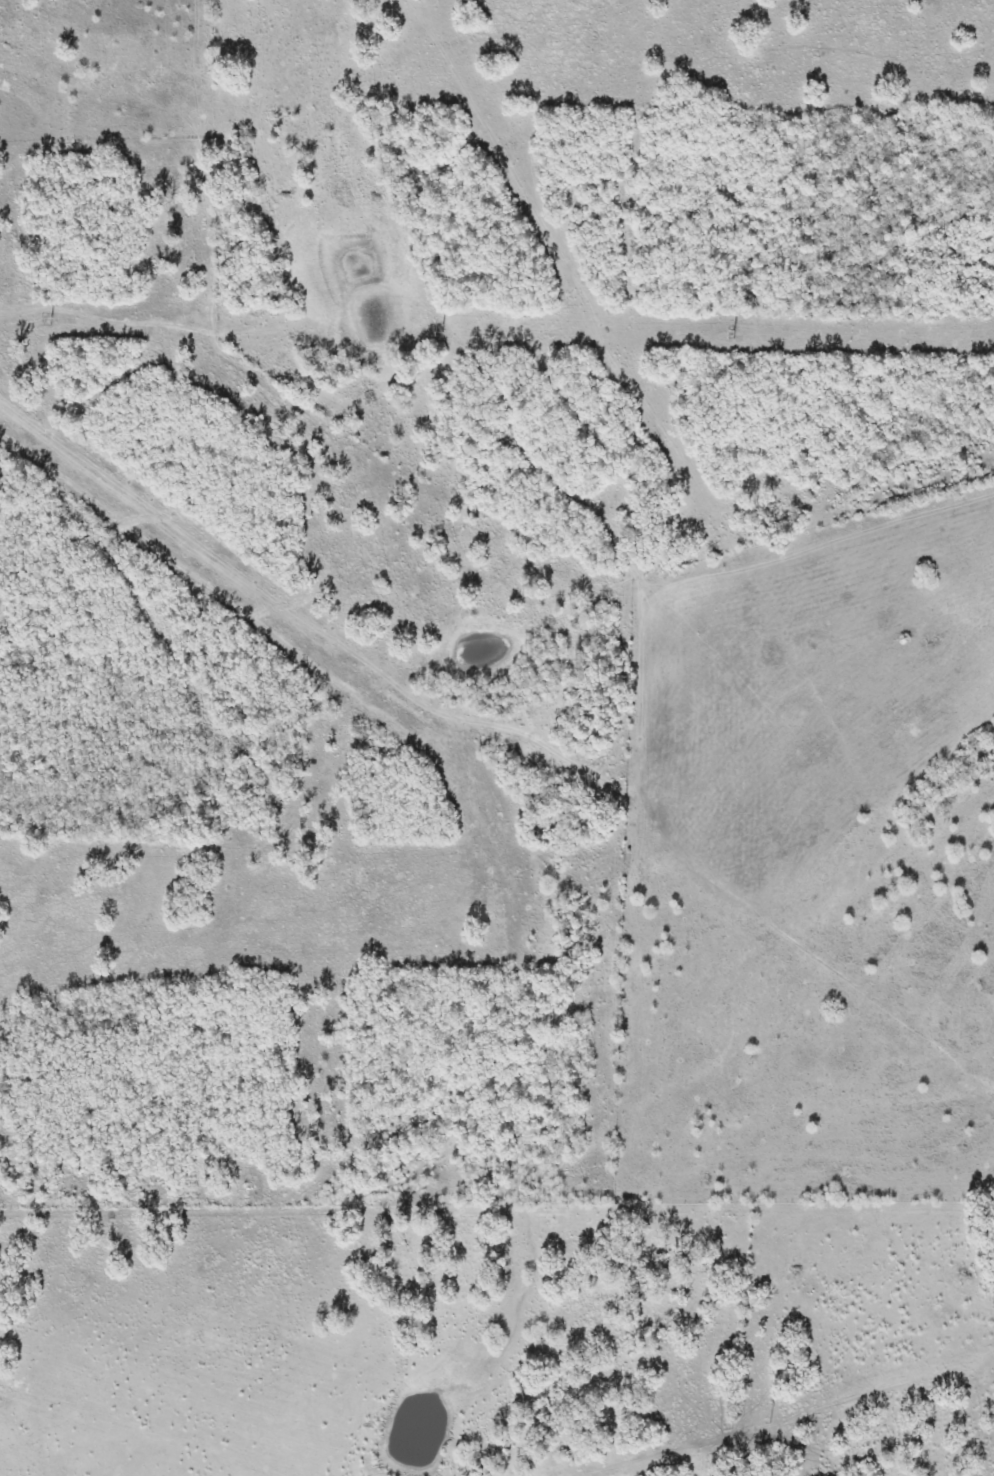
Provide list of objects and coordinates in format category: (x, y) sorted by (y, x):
power tower: (51, 317)
power tower: (442, 326)
power tower: (732, 333)

